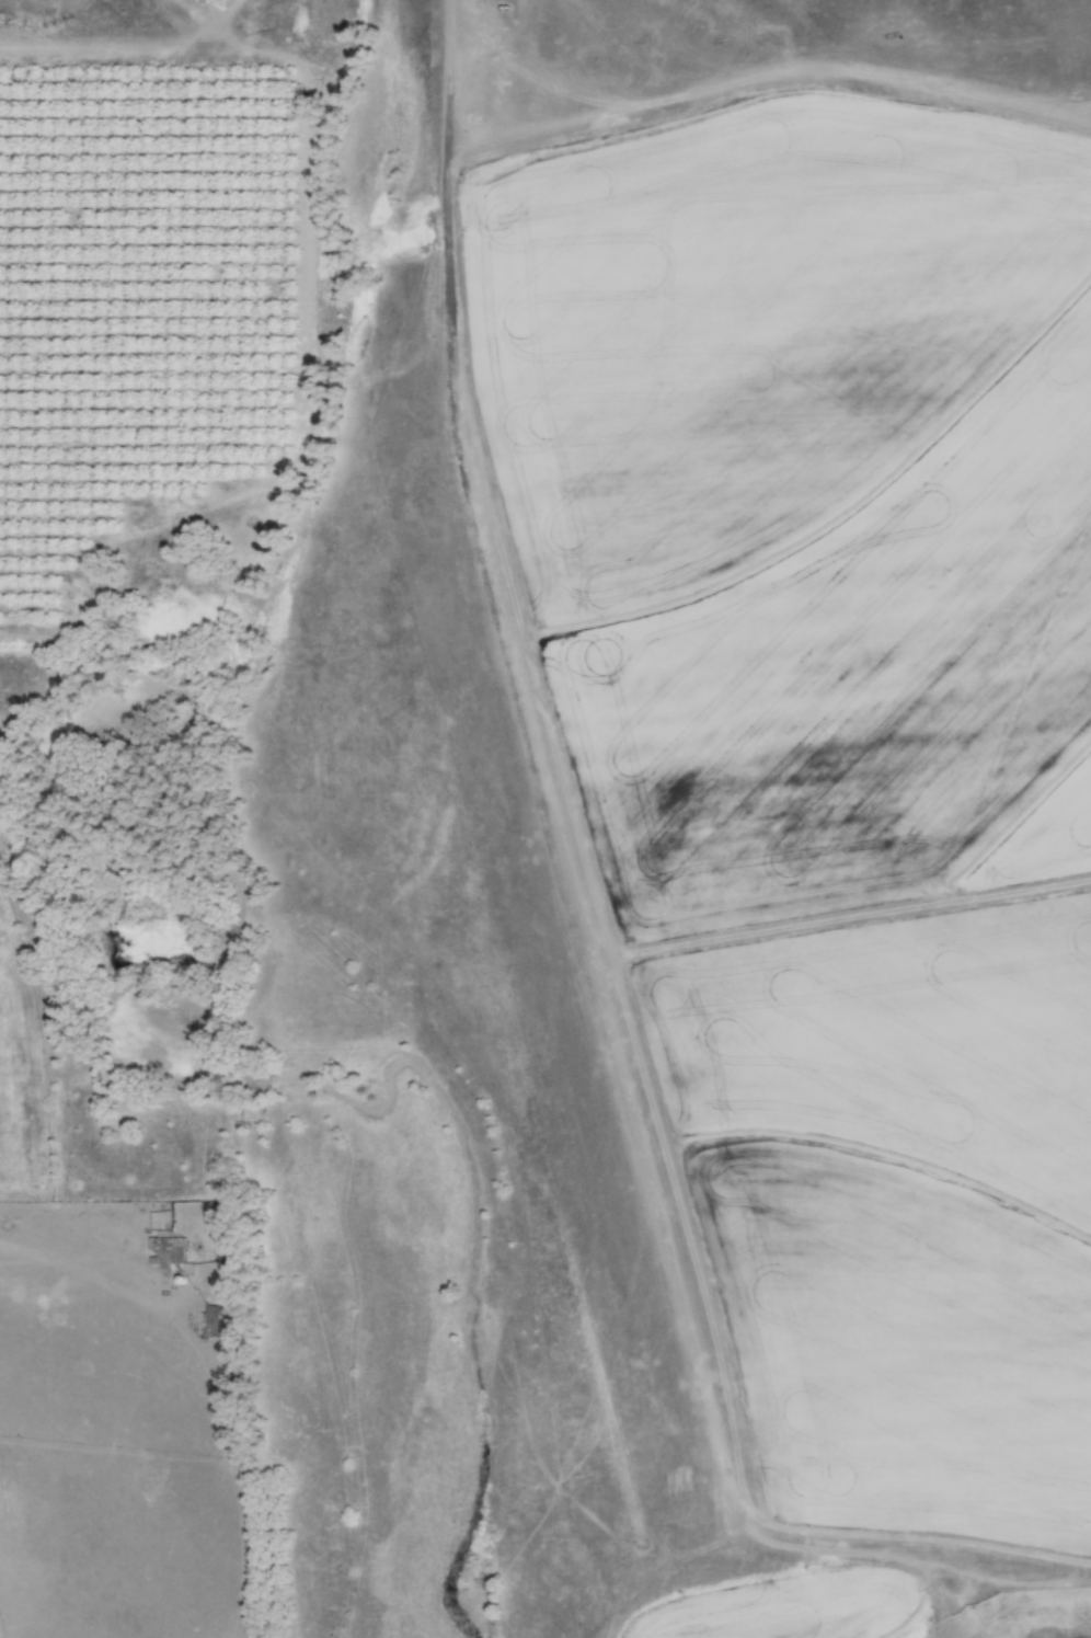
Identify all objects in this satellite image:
road: (583, 927)
building: (219, 1320)

